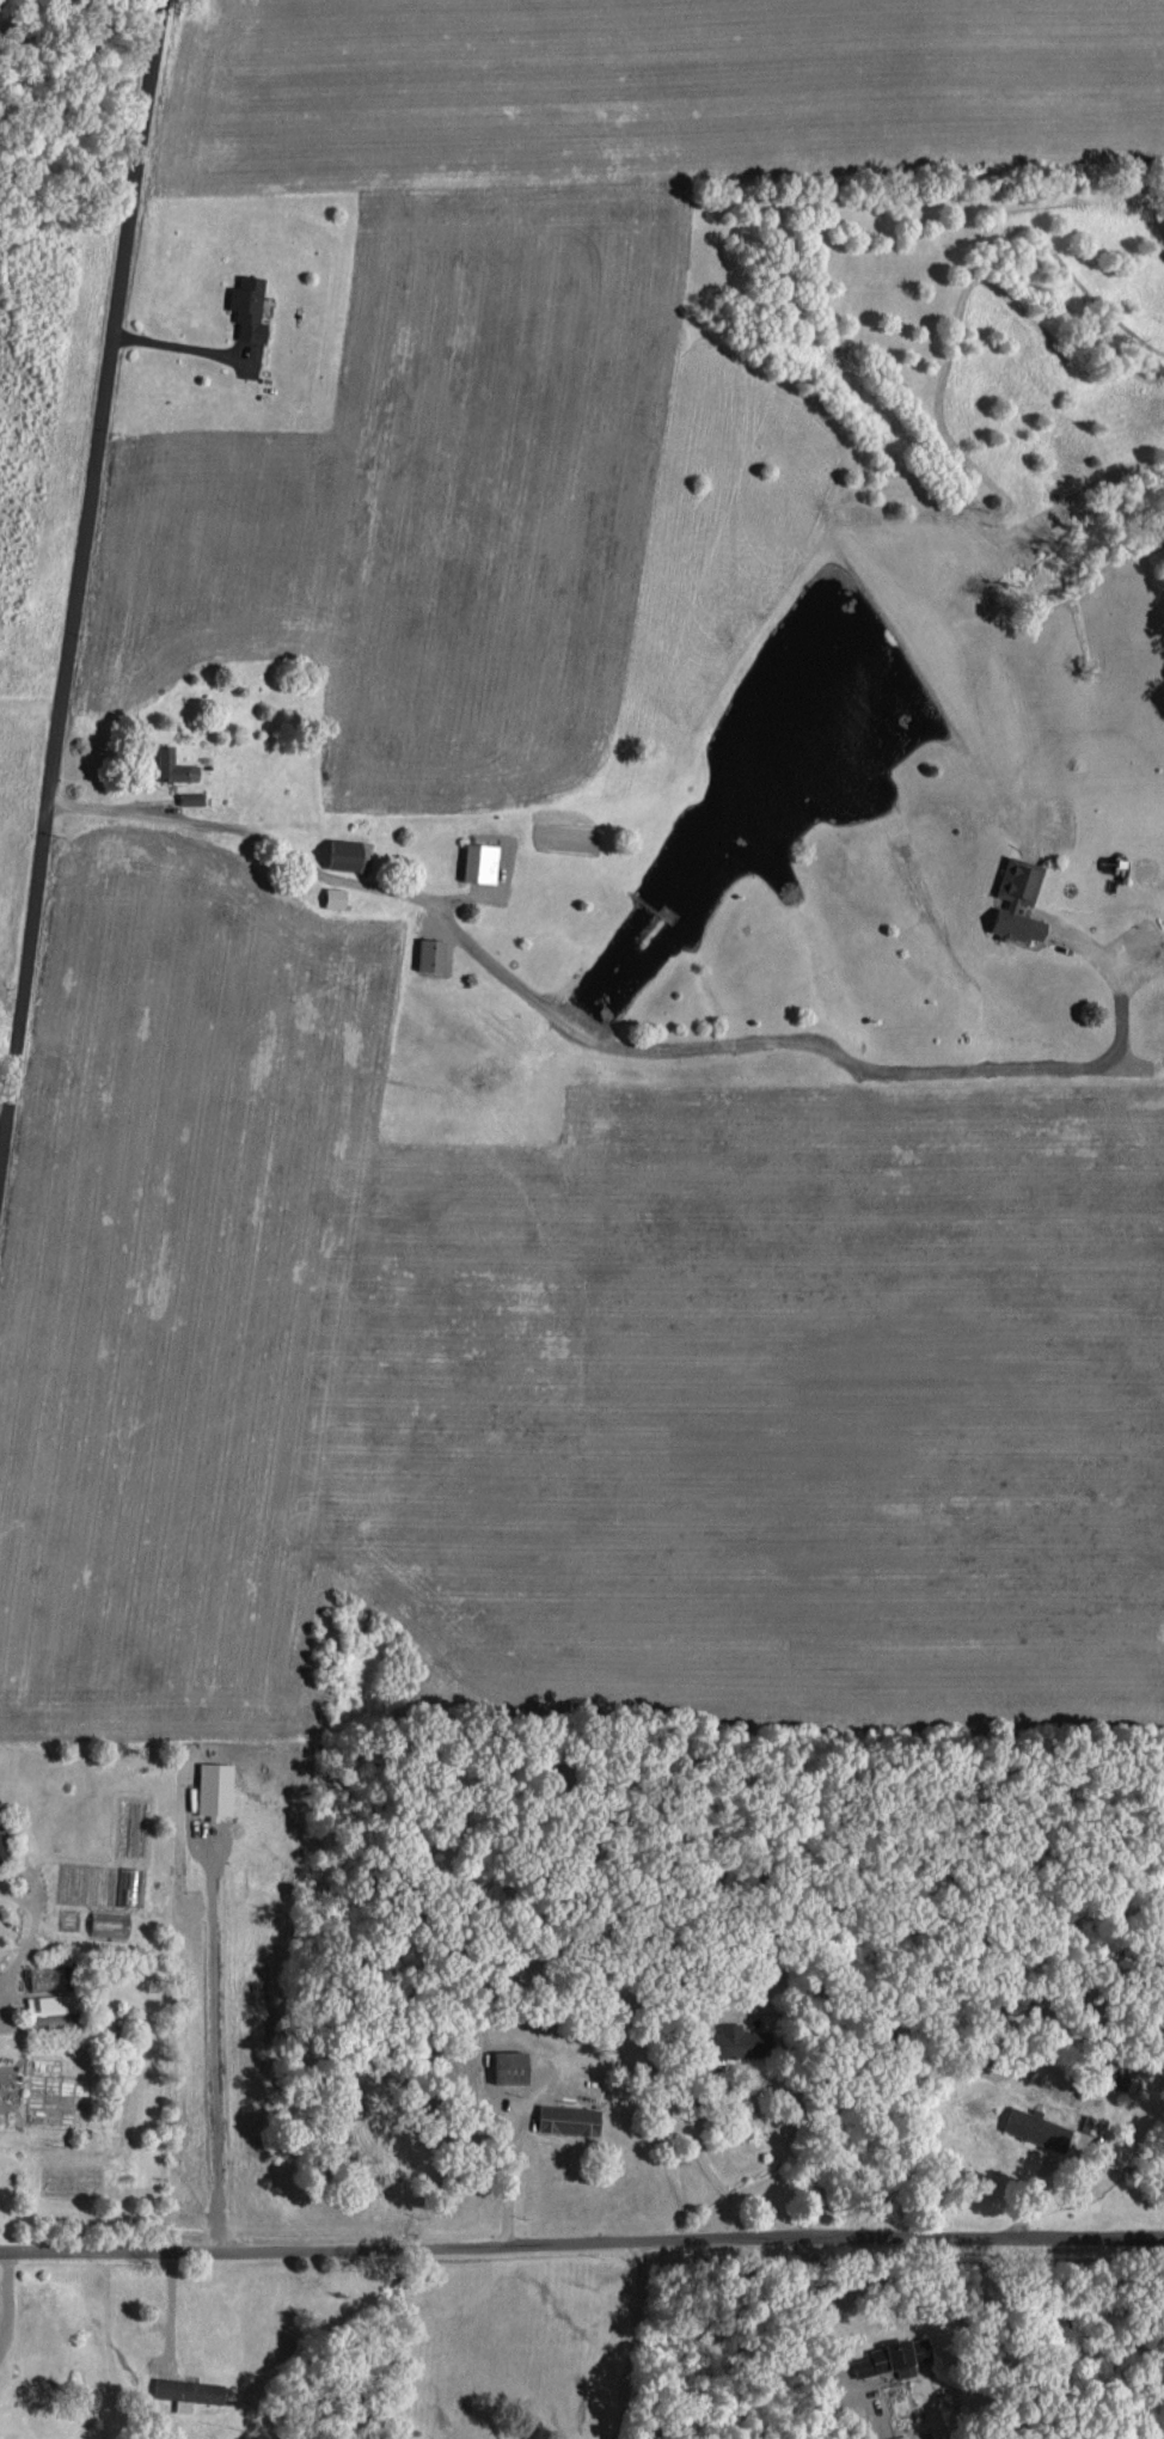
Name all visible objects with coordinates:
building: (243, 305)
road: (79, 582)
building: (158, 763)
building: (184, 770)
building: (186, 796)
building: (343, 852)
building: (473, 861)
building: (329, 895)
building: (1011, 899)
building: (424, 952)
road: (627, 1045)
building: (0, 1852)
building: (104, 1921)
building: (39, 1974)
building: (42, 2001)
building: (44, 2016)
building: (562, 2116)
building: (1029, 2125)
road: (582, 2241)
building: (889, 2354)
building: (183, 2388)
building: (895, 2435)

